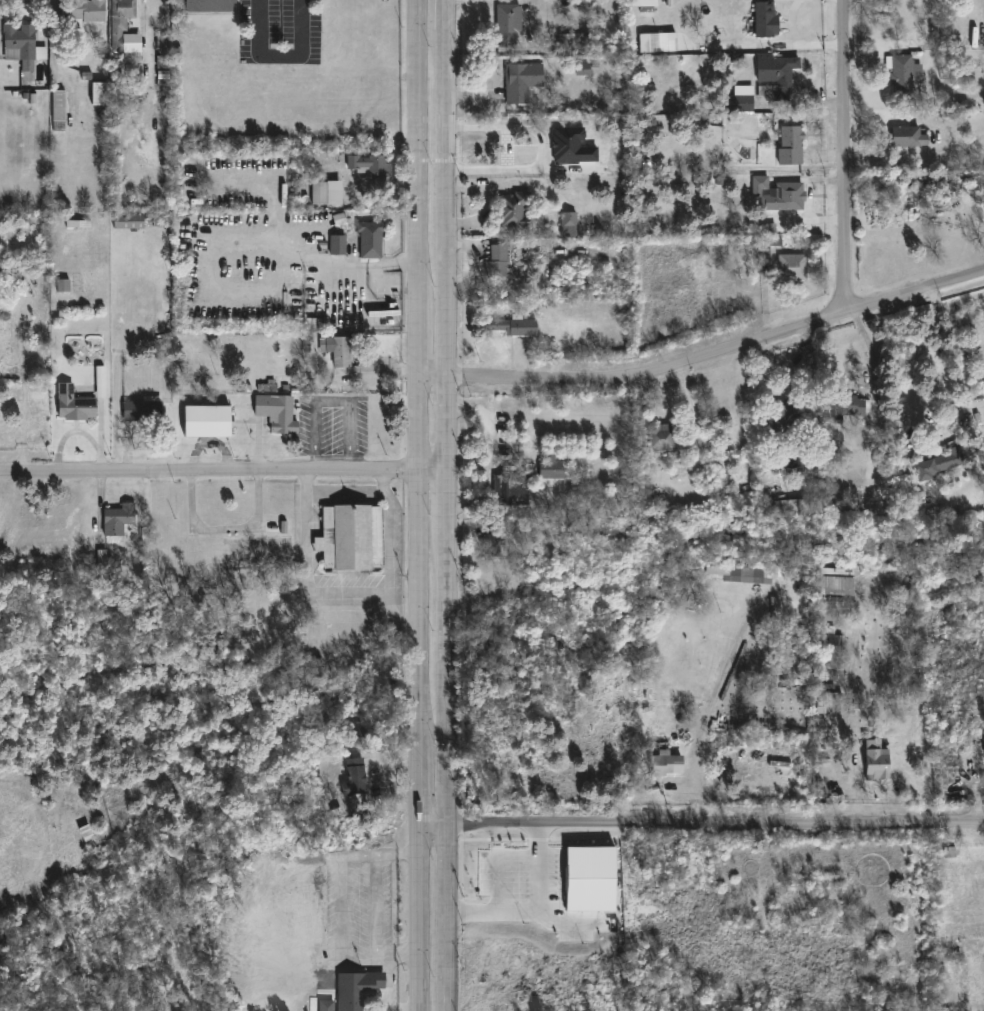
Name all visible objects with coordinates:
building: (644, 3)
building: (208, 5)
building: (81, 11)
road: (449, 15)
building: (763, 19)
road: (792, 22)
building: (506, 23)
building: (121, 25)
building: (651, 42)
building: (574, 43)
building: (20, 46)
road: (772, 47)
road: (280, 59)
building: (163, 62)
building: (582, 70)
building: (905, 72)
building: (163, 75)
building: (774, 76)
building: (520, 81)
building: (117, 85)
building: (96, 94)
building: (738, 101)
building: (56, 106)
building: (906, 137)
building: (792, 146)
building: (572, 147)
road: (505, 151)
road: (543, 152)
road: (844, 157)
building: (368, 166)
building: (317, 193)
building: (777, 194)
building: (515, 210)
building: (568, 220)
building: (126, 222)
building: (78, 224)
building: (768, 228)
building: (368, 239)
building: (337, 245)
building: (769, 246)
road: (444, 251)
road: (303, 258)
building: (498, 261)
building: (791, 268)
building: (63, 286)
building: (509, 326)
building: (335, 350)
road: (707, 358)
road: (917, 363)
road: (790, 366)
road: (421, 368)
building: (99, 389)
road: (331, 401)
building: (72, 405)
building: (851, 406)
building: (140, 408)
building: (275, 412)
road: (467, 414)
building: (203, 419)
building: (788, 421)
building: (666, 441)
road: (491, 461)
building: (941, 462)
building: (551, 469)
road: (221, 472)
road: (382, 483)
building: (508, 489)
road: (346, 494)
building: (809, 505)
road: (444, 507)
building: (116, 518)
road: (226, 531)
building: (347, 535)
building: (491, 541)
road: (389, 543)
building: (227, 570)
building: (781, 571)
road: (307, 572)
building: (741, 574)
building: (835, 584)
building: (775, 616)
road: (396, 619)
building: (833, 641)
road: (446, 683)
road: (710, 707)
road: (844, 712)
building: (821, 726)
building: (351, 738)
building: (983, 739)
building: (666, 762)
building: (875, 764)
building: (355, 778)
road: (420, 781)
park: (172, 784)
road: (434, 825)
road: (715, 827)
building: (949, 852)
building: (590, 879)
road: (528, 903)
road: (446, 917)
road: (419, 918)
building: (355, 989)

